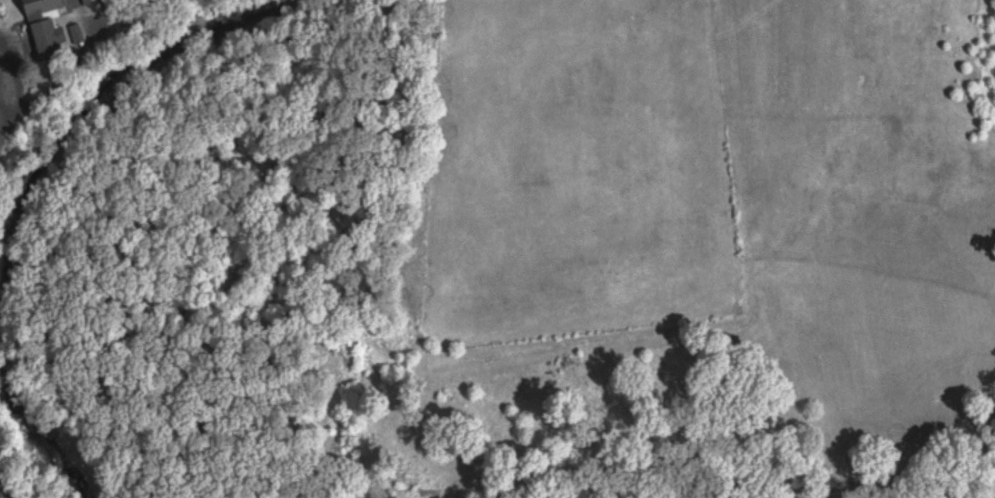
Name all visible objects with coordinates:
building: (92, 1)
building: (50, 25)
river: (24, 201)

